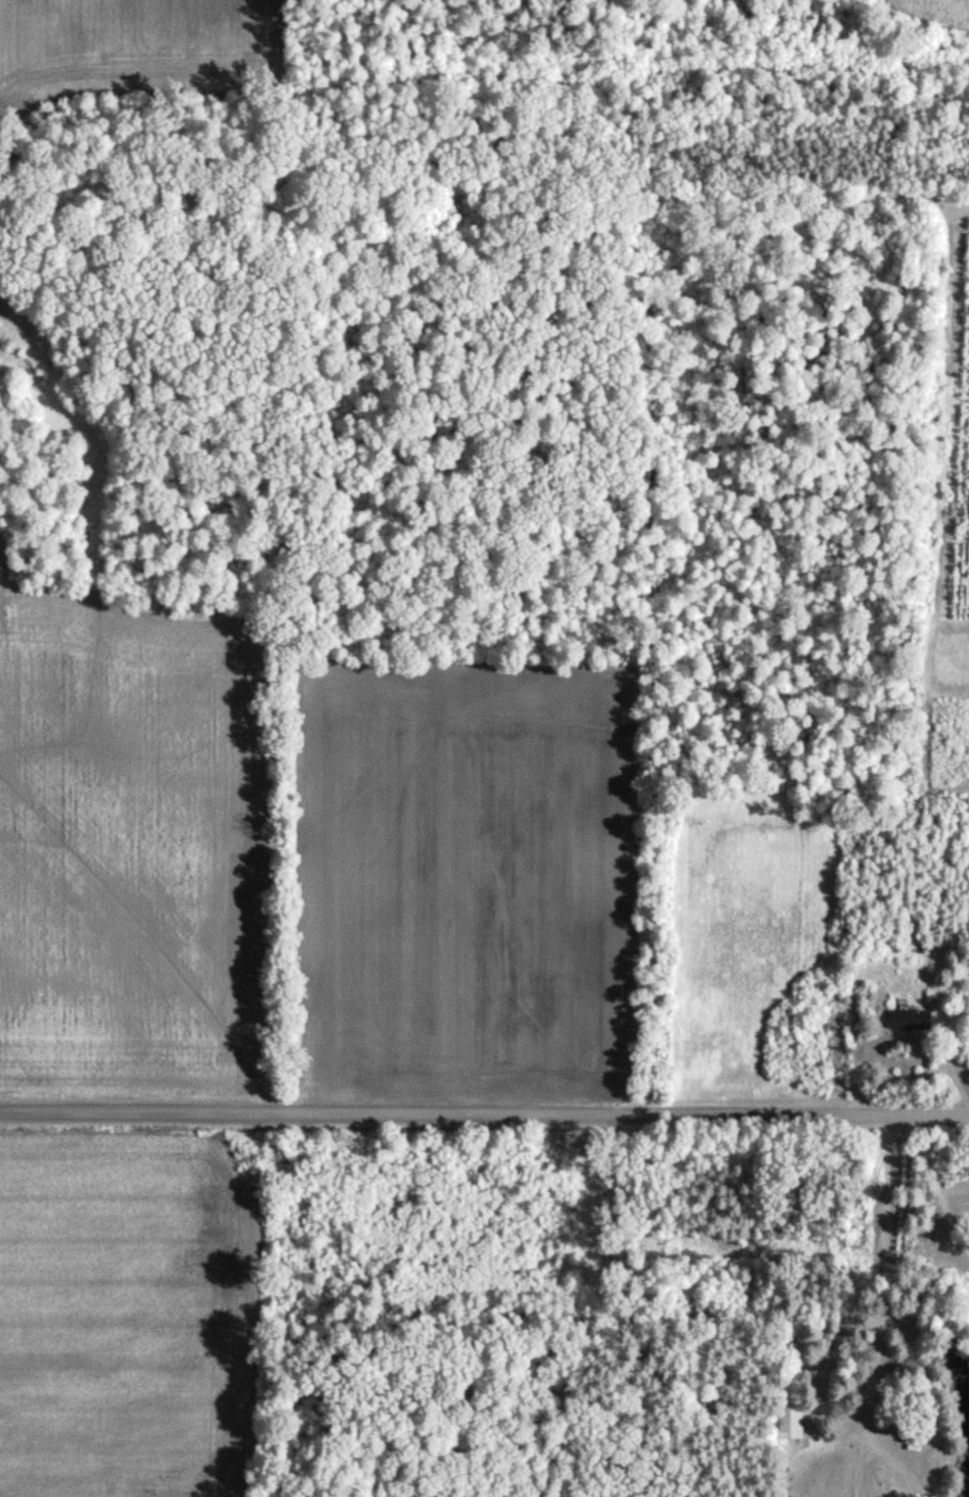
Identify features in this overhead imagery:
building: (907, 1020)
road: (484, 1113)
road: (886, 1306)
building: (788, 1421)

